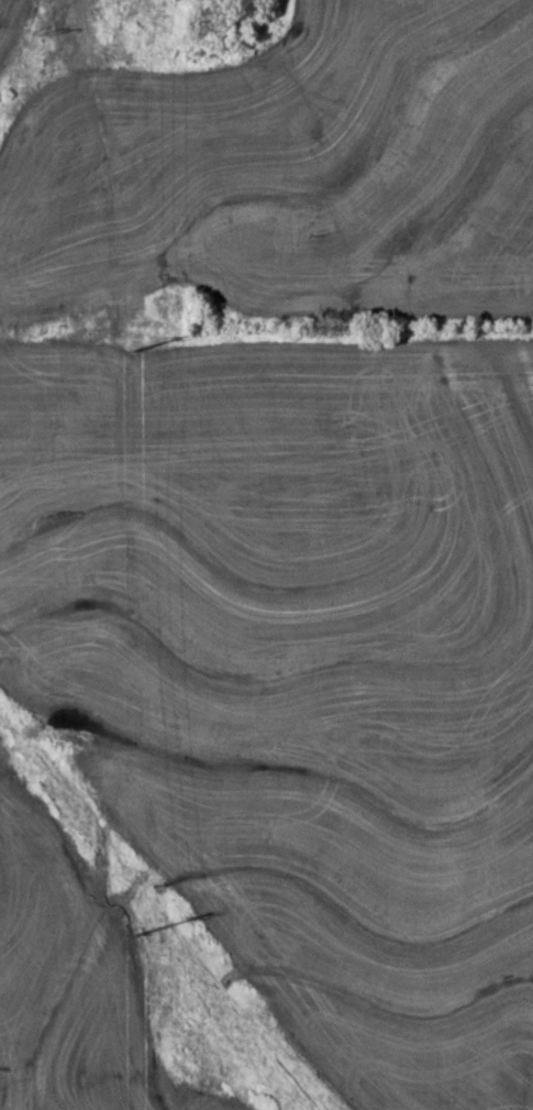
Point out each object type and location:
power tower: (42, 39)
power tower: (131, 347)
power tower: (44, 520)
power tower: (142, 932)

